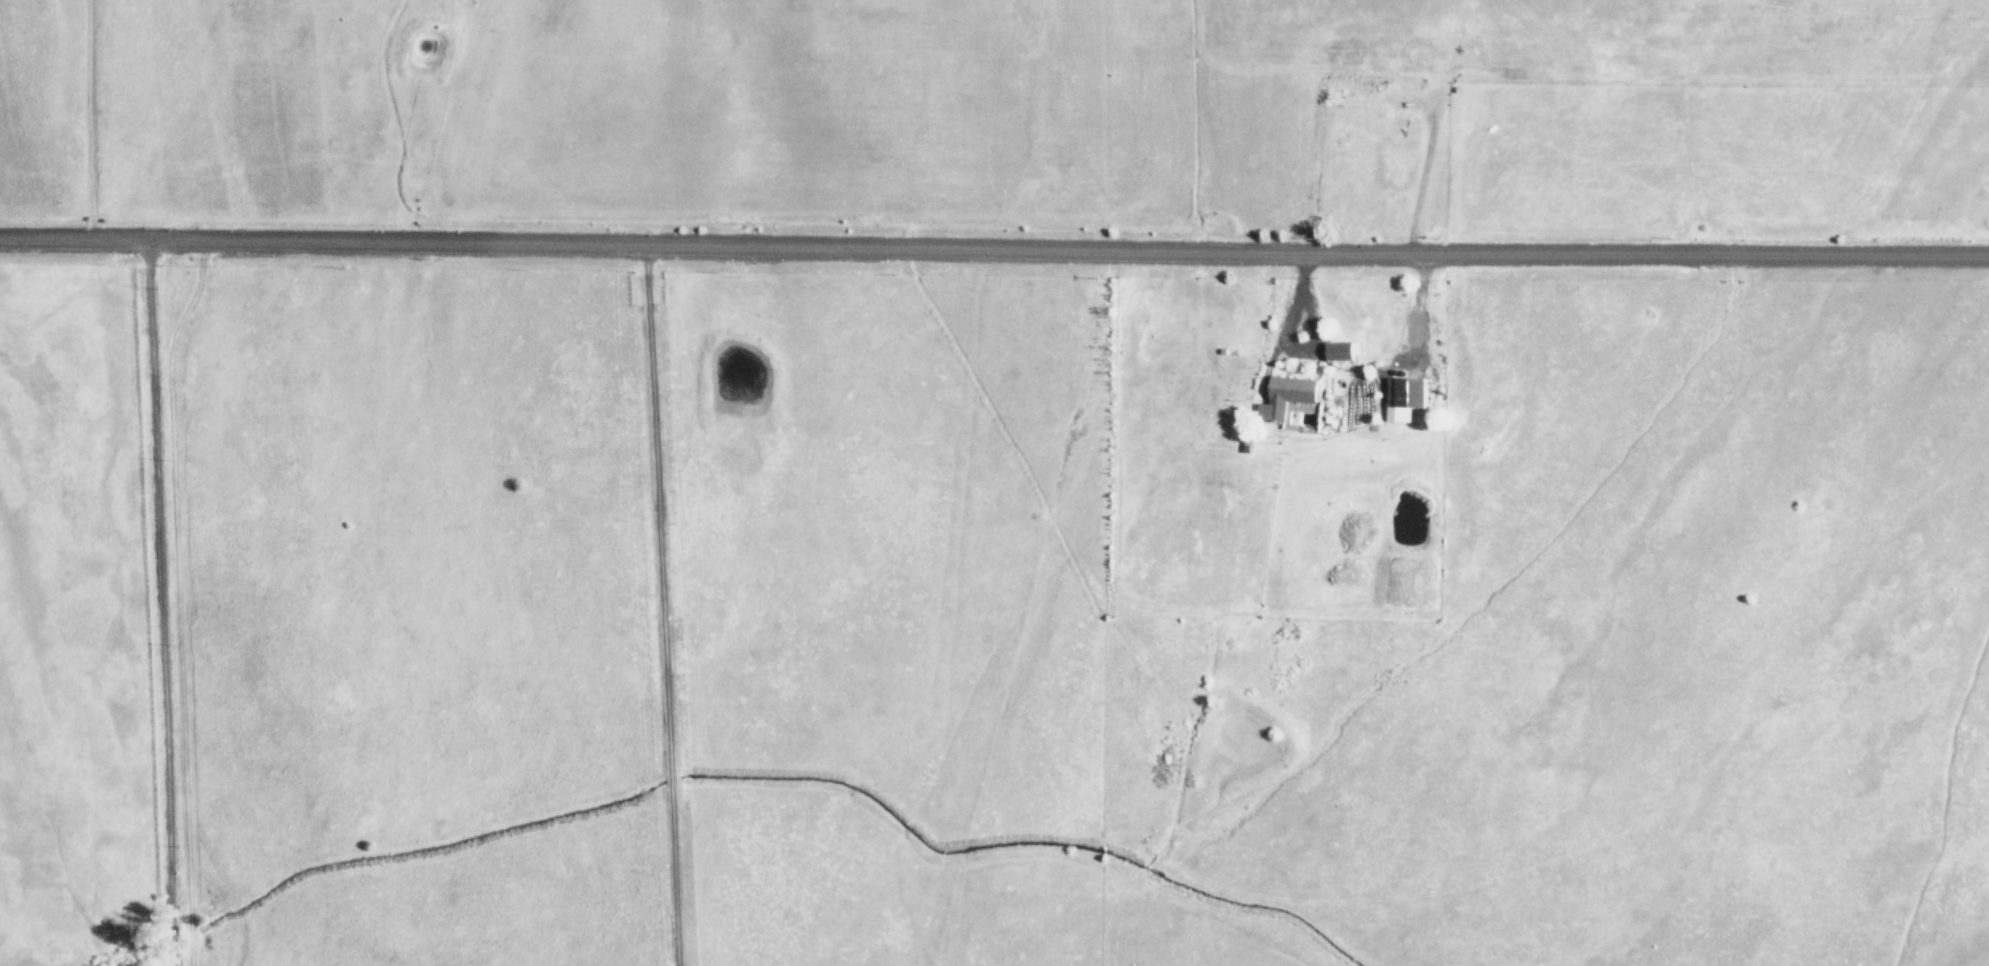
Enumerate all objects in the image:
road: (994, 249)
building: (1342, 349)
building: (1285, 395)
building: (1404, 395)
road: (657, 507)
road: (155, 602)

